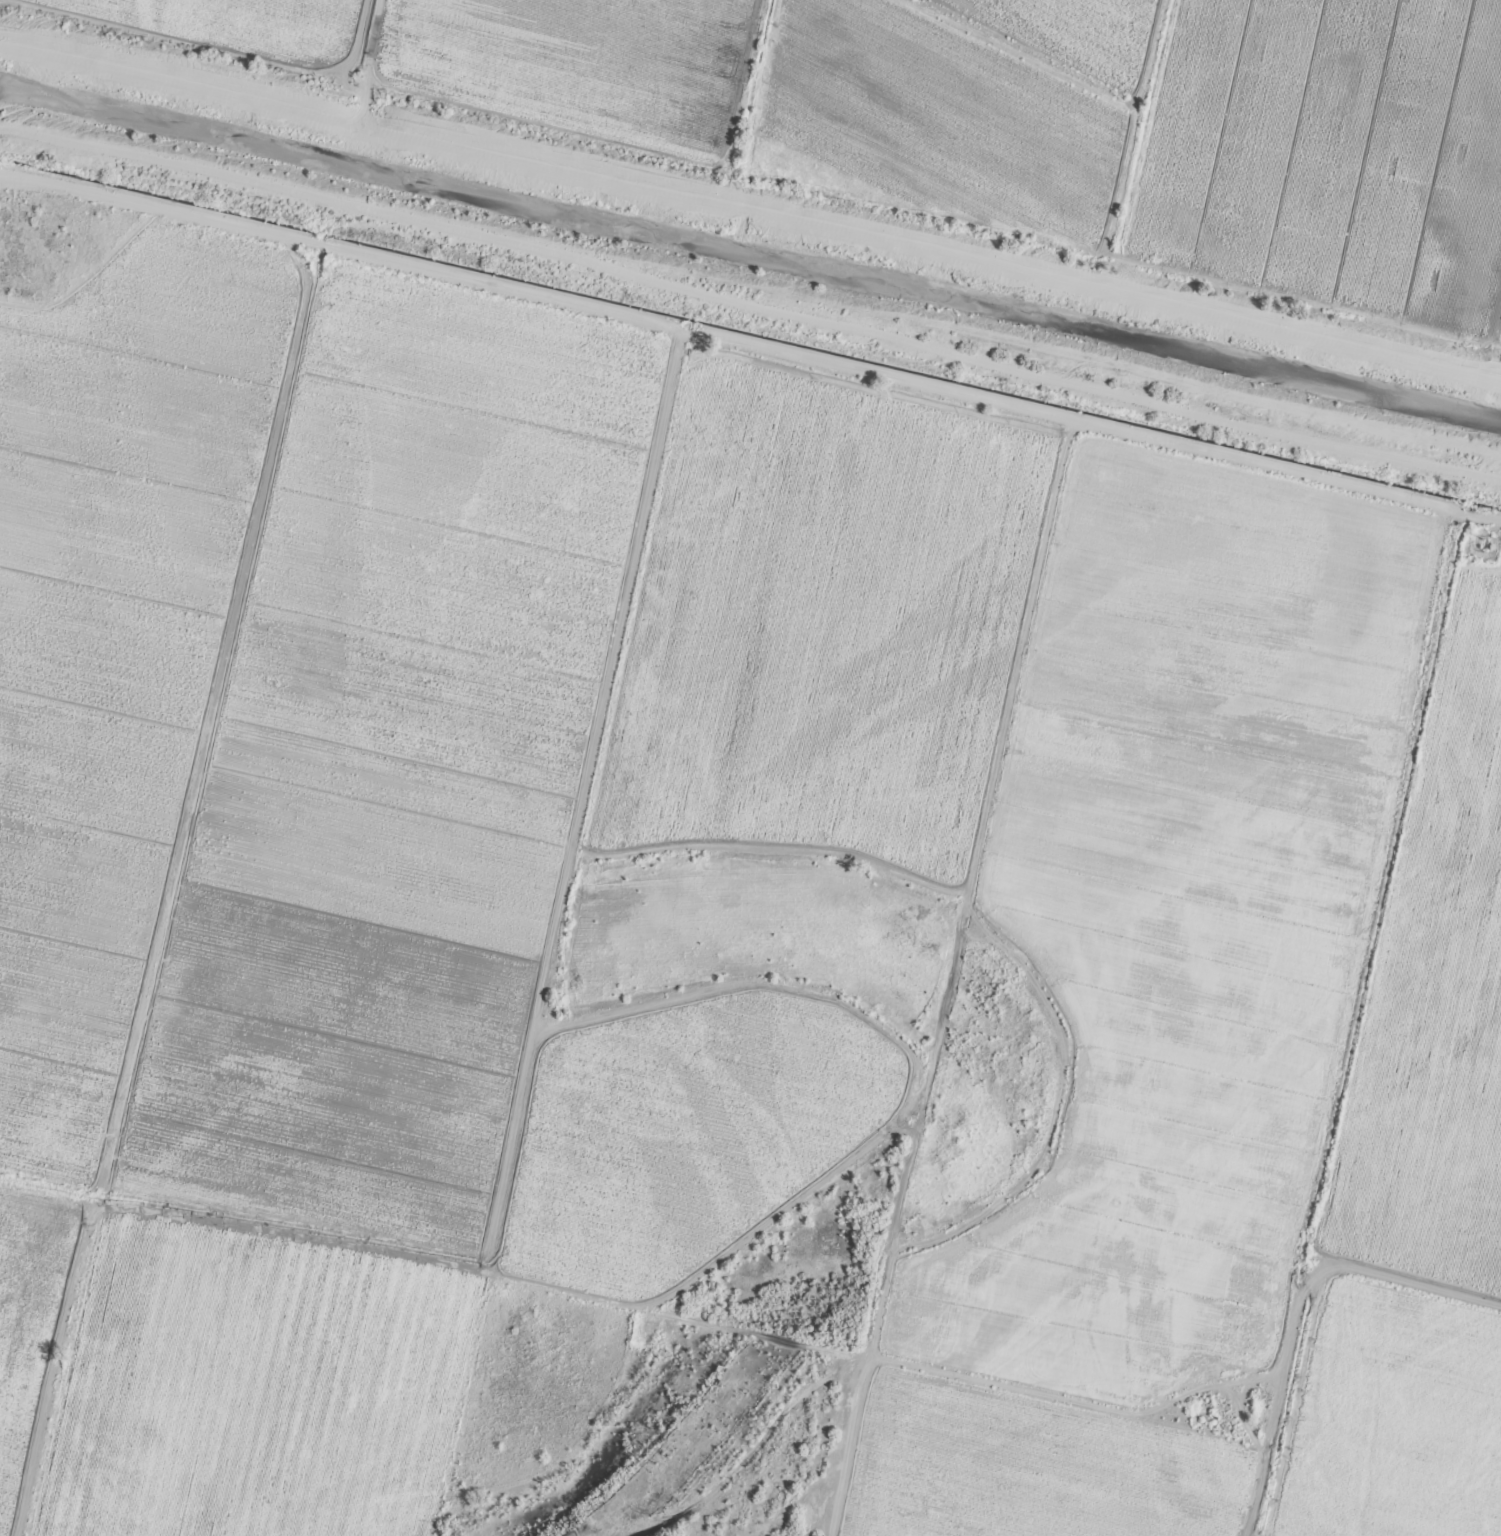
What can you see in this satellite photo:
crop: (1007, 118)

